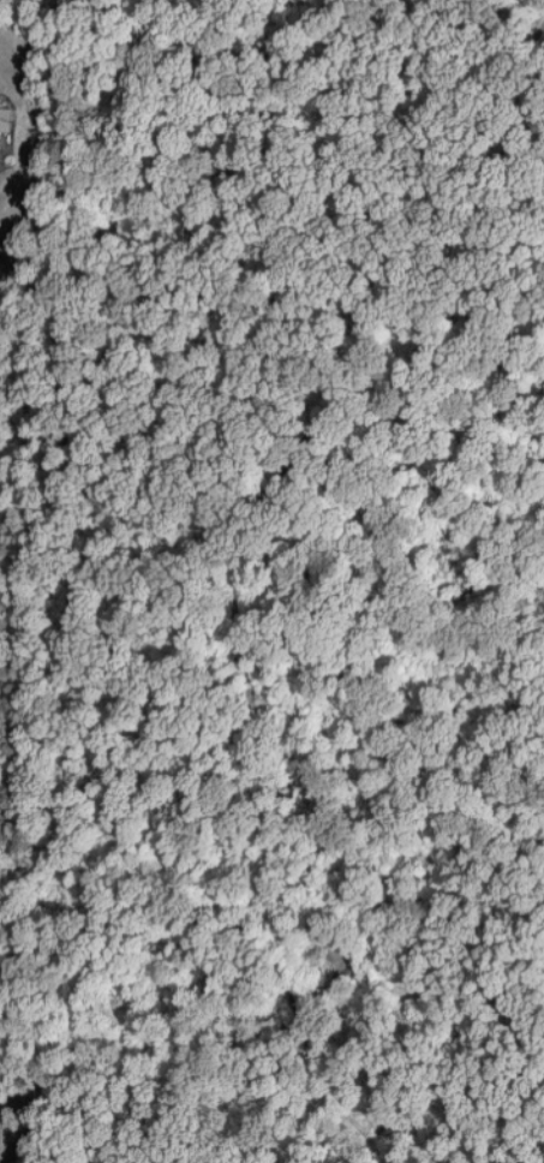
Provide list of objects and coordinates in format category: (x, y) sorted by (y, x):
building: (7, 119)

